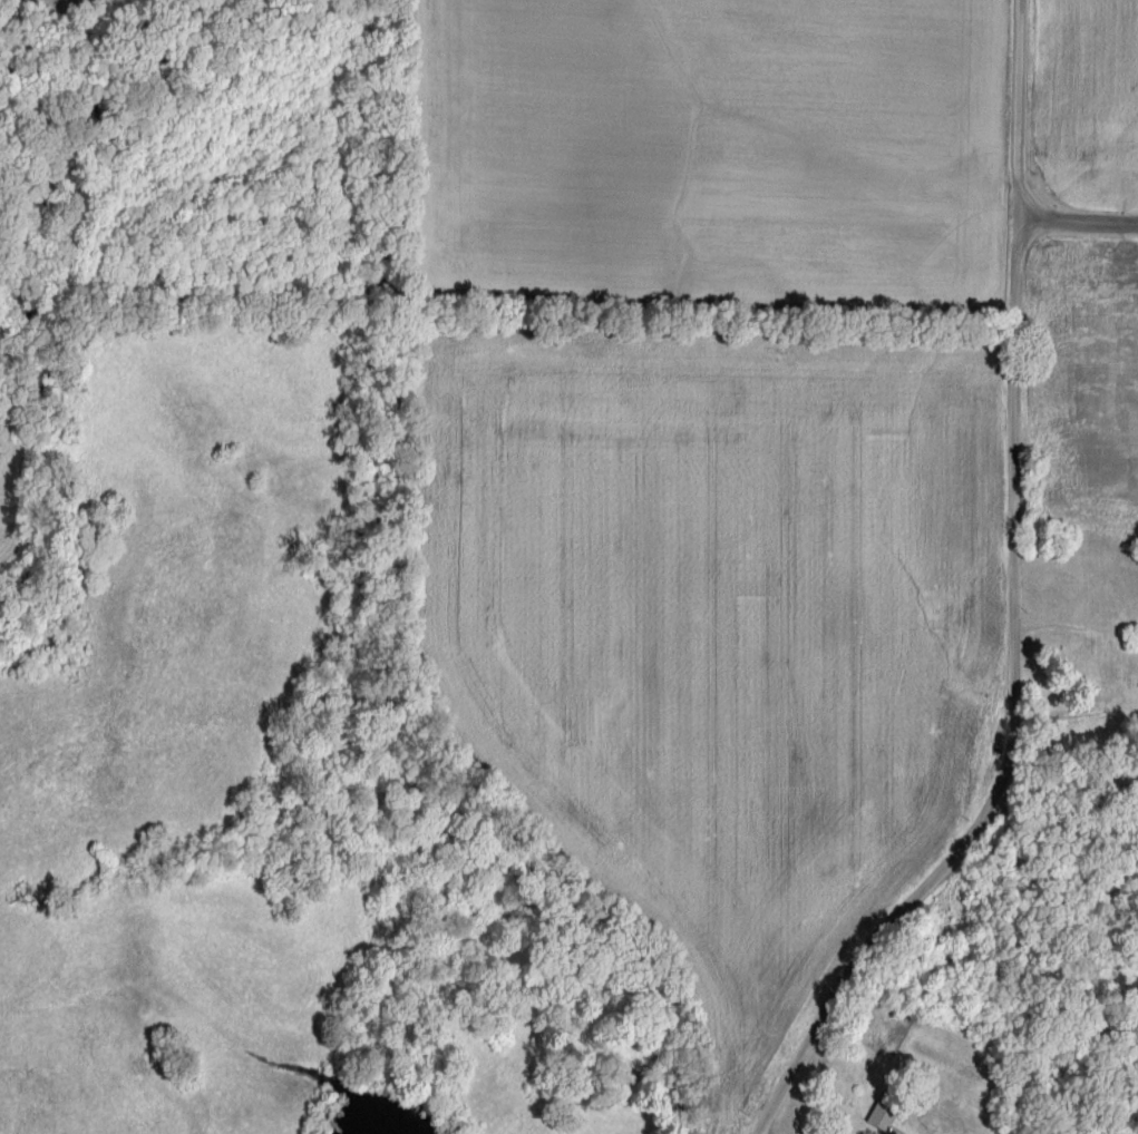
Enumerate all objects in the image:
road: (1077, 221)
road: (1015, 606)
building: (892, 1111)

